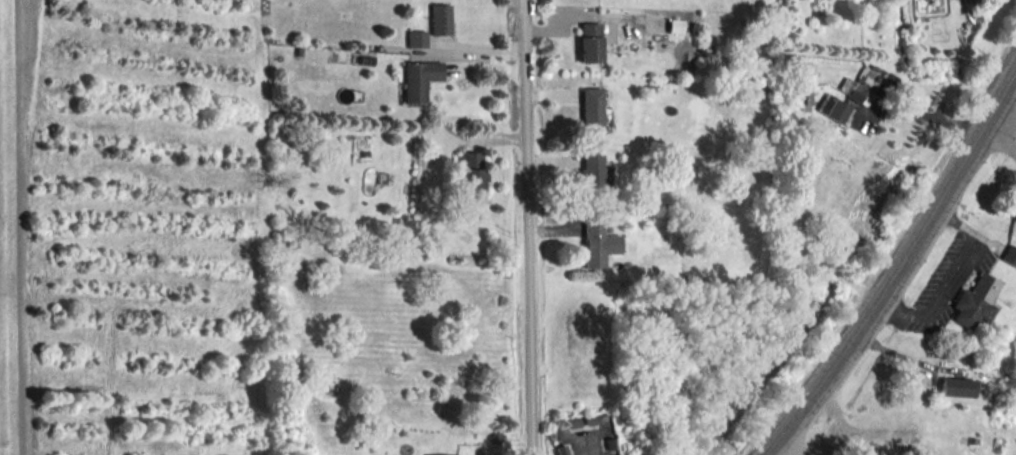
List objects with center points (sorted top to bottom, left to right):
building: (439, 18)
building: (415, 38)
building: (588, 41)
building: (803, 72)
building: (418, 79)
building: (867, 84)
building: (802, 100)
building: (832, 107)
building: (590, 110)
road: (926, 115)
building: (470, 175)
building: (591, 175)
building: (1012, 203)
road: (530, 227)
building: (597, 244)
building: (1009, 254)
road: (896, 265)
building: (974, 300)
building: (956, 386)
road: (586, 448)
building: (439, 454)

